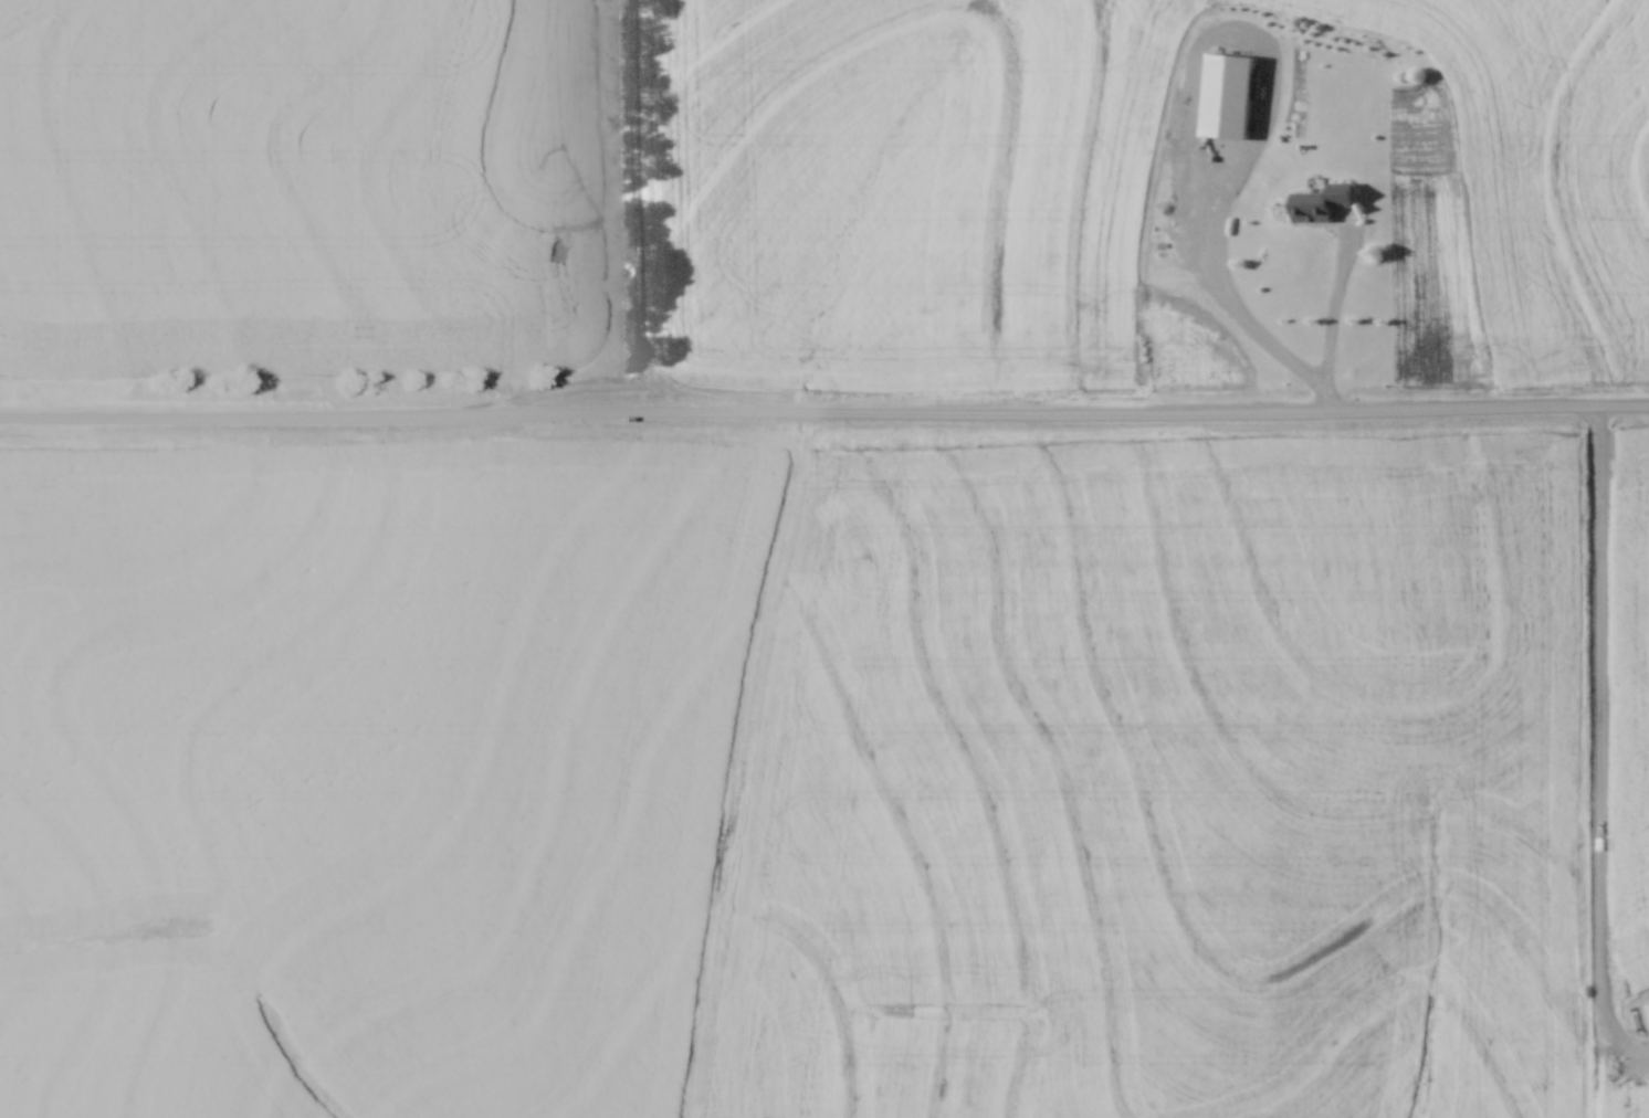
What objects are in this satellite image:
building: (1225, 95)
road: (1194, 109)
building: (1319, 201)
road: (1331, 331)
road: (823, 414)
road: (1599, 747)

